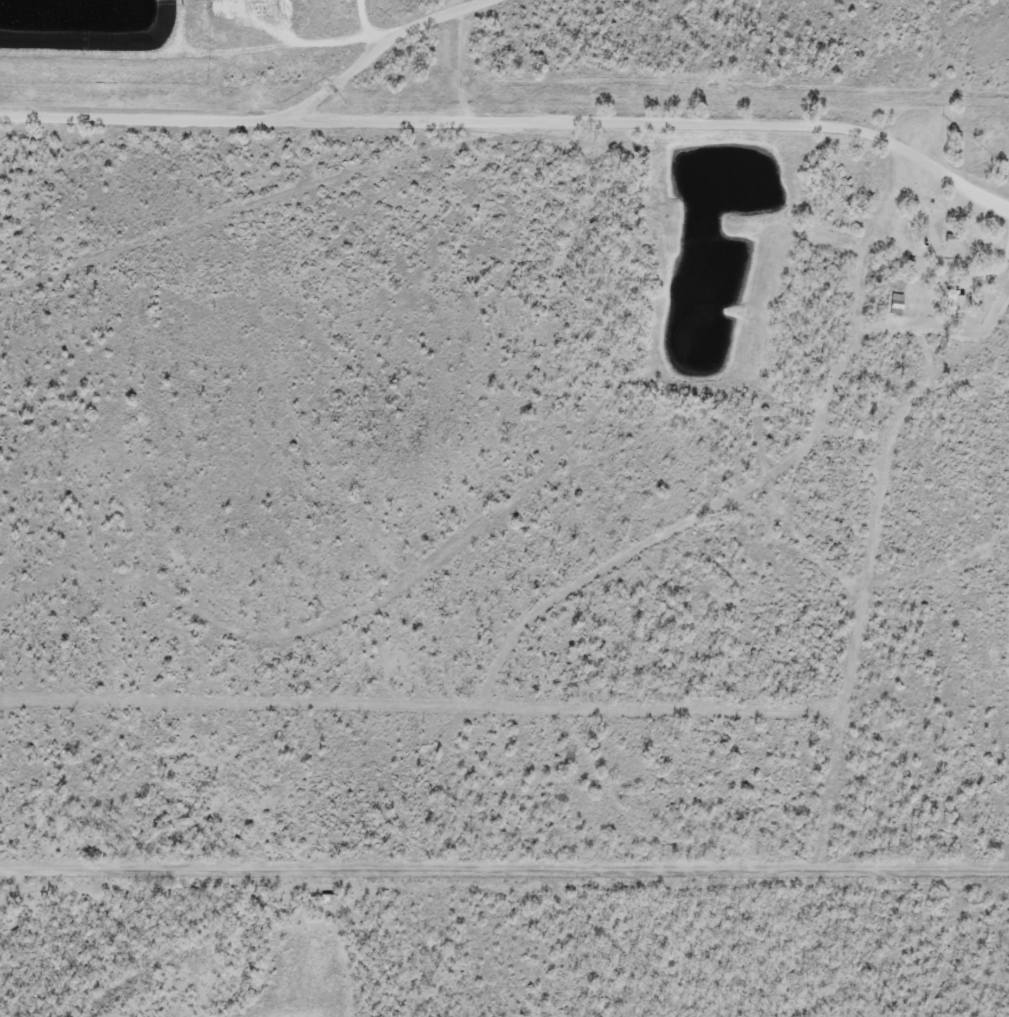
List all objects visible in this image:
road: (514, 126)

